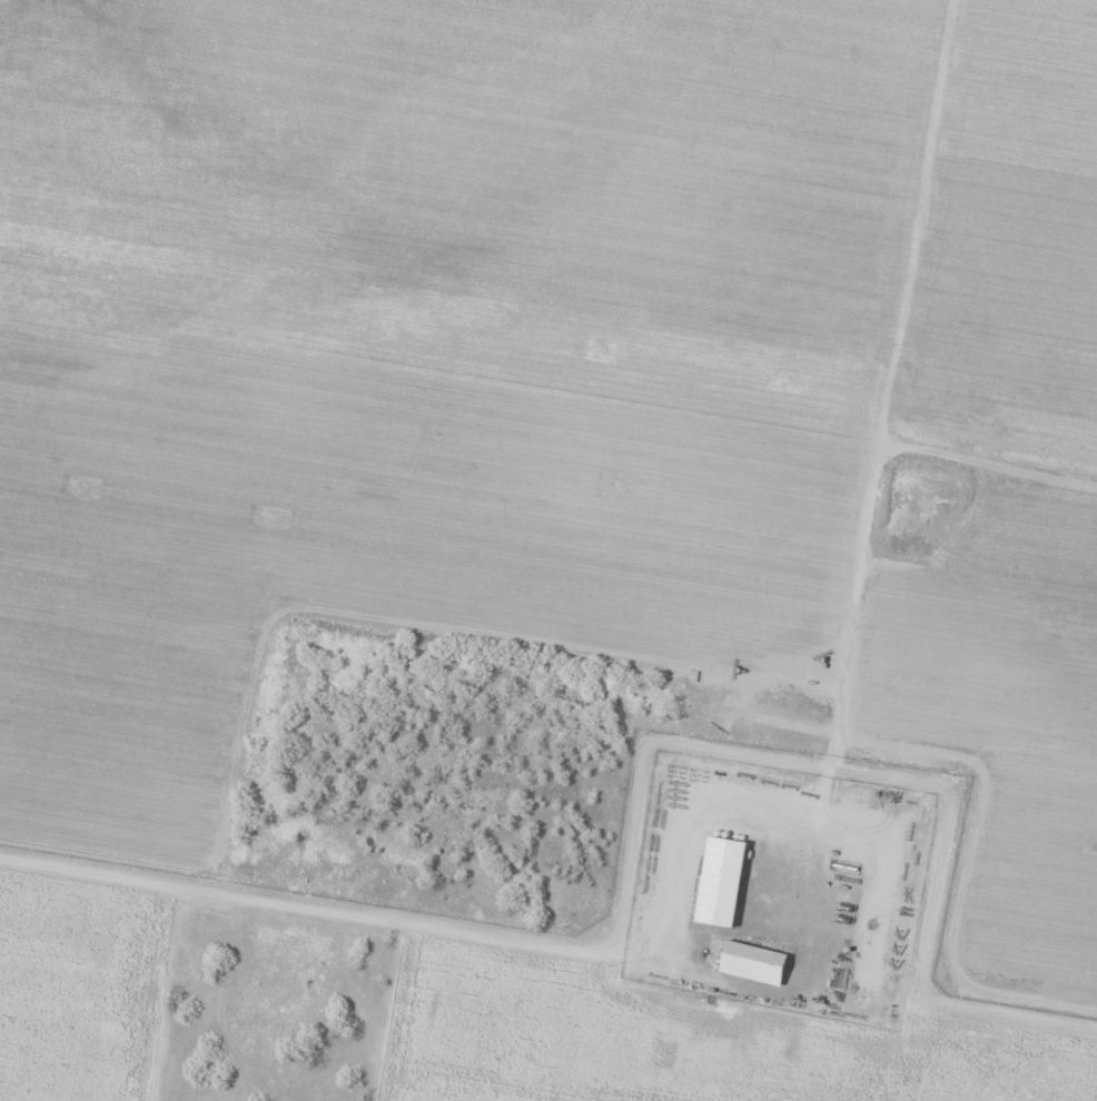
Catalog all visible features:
road: (882, 385)
building: (721, 881)
road: (926, 924)
road: (494, 935)
building: (753, 963)

